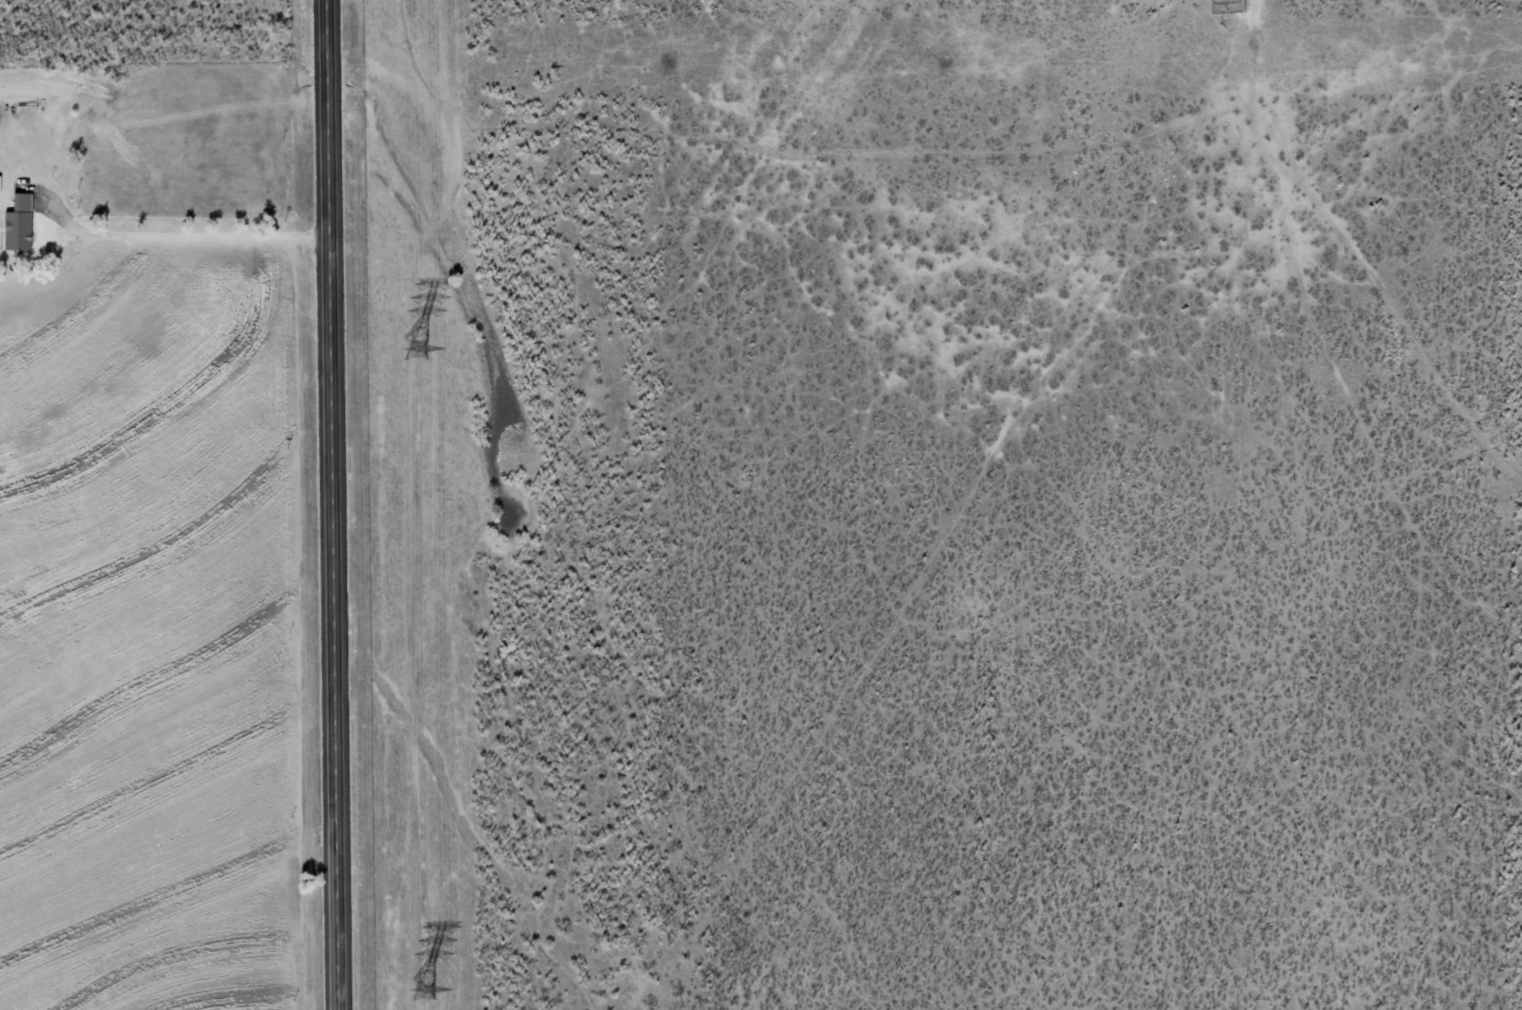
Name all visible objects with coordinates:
building: (20, 223)
power tower: (412, 348)
road: (335, 505)
power tower: (420, 989)

